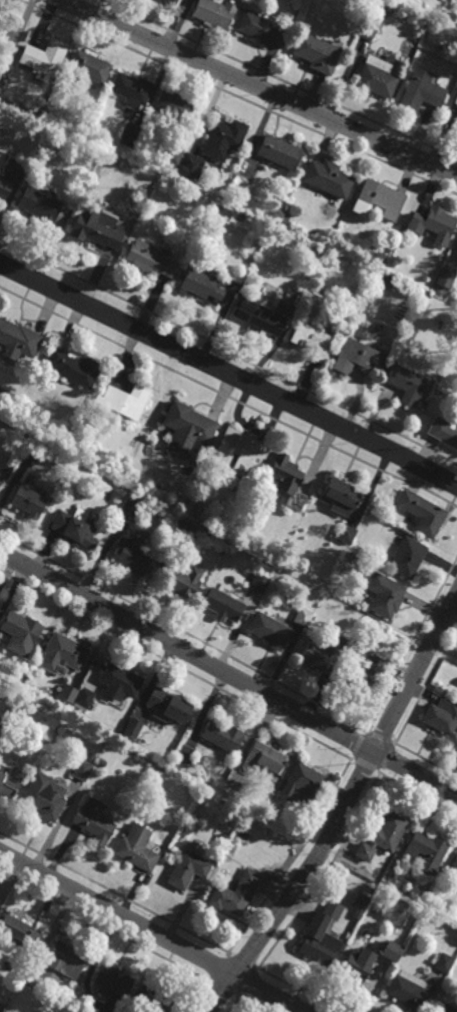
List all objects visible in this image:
building: (217, 0)
building: (171, 2)
building: (214, 13)
building: (260, 28)
building: (368, 29)
building: (7, 31)
building: (316, 51)
building: (44, 57)
building: (89, 66)
building: (3, 73)
building: (376, 77)
road: (260, 87)
building: (132, 88)
building: (421, 91)
road: (239, 97)
building: (173, 105)
building: (456, 123)
building: (128, 133)
building: (223, 138)
building: (278, 151)
building: (174, 154)
building: (190, 165)
building: (327, 178)
building: (5, 186)
building: (381, 198)
building: (41, 203)
building: (215, 210)
building: (432, 222)
building: (96, 228)
building: (316, 252)
building: (376, 258)
building: (149, 259)
building: (446, 278)
building: (385, 281)
building: (200, 286)
building: (259, 317)
building: (18, 340)
building: (312, 341)
road: (228, 352)
building: (358, 355)
building: (73, 368)
road: (228, 374)
building: (406, 383)
building: (125, 401)
building: (189, 430)
building: (443, 433)
building: (31, 451)
building: (240, 456)
building: (2, 472)
building: (283, 476)
building: (341, 496)
building: (28, 502)
building: (132, 506)
building: (421, 514)
building: (74, 529)
building: (180, 532)
building: (347, 535)
building: (130, 559)
building: (407, 559)
building: (197, 574)
building: (260, 584)
building: (180, 585)
building: (384, 597)
building: (222, 607)
building: (302, 618)
building: (22, 630)
building: (270, 633)
building: (380, 636)
road: (187, 651)
building: (62, 653)
building: (324, 655)
road: (415, 676)
building: (365, 677)
building: (120, 681)
building: (67, 691)
building: (1, 694)
building: (84, 694)
building: (168, 703)
building: (441, 715)
building: (133, 726)
building: (222, 733)
building: (90, 756)
building: (263, 758)
building: (100, 761)
building: (81, 769)
road: (415, 774)
building: (11, 779)
building: (304, 784)
building: (44, 795)
building: (268, 817)
building: (93, 820)
building: (242, 834)
building: (382, 836)
building: (427, 850)
building: (136, 852)
building: (187, 869)
building: (454, 870)
road: (297, 885)
building: (236, 893)
building: (358, 913)
building: (17, 929)
road: (152, 931)
building: (322, 935)
building: (391, 950)
building: (62, 962)
building: (444, 962)
building: (356, 967)
building: (112, 980)
building: (409, 990)
building: (151, 1000)
building: (444, 1008)

